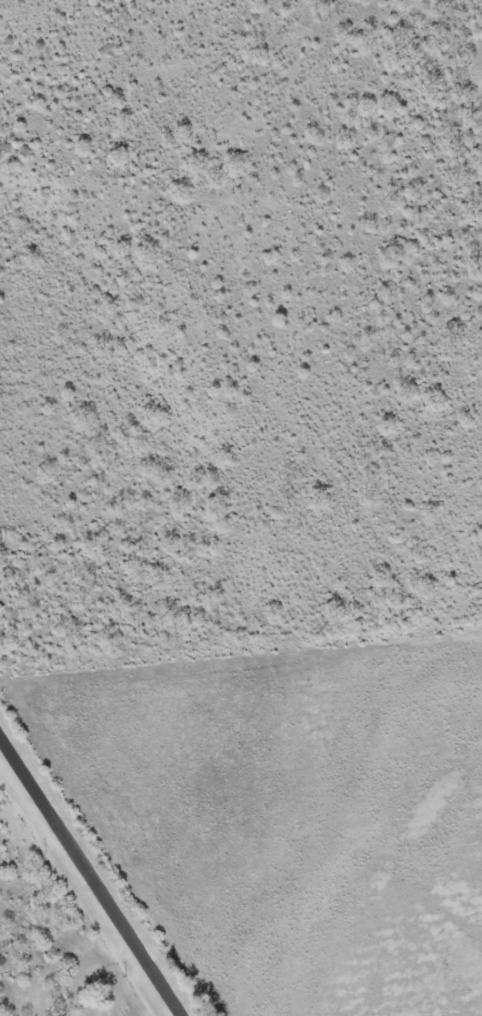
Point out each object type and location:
road: (91, 879)

